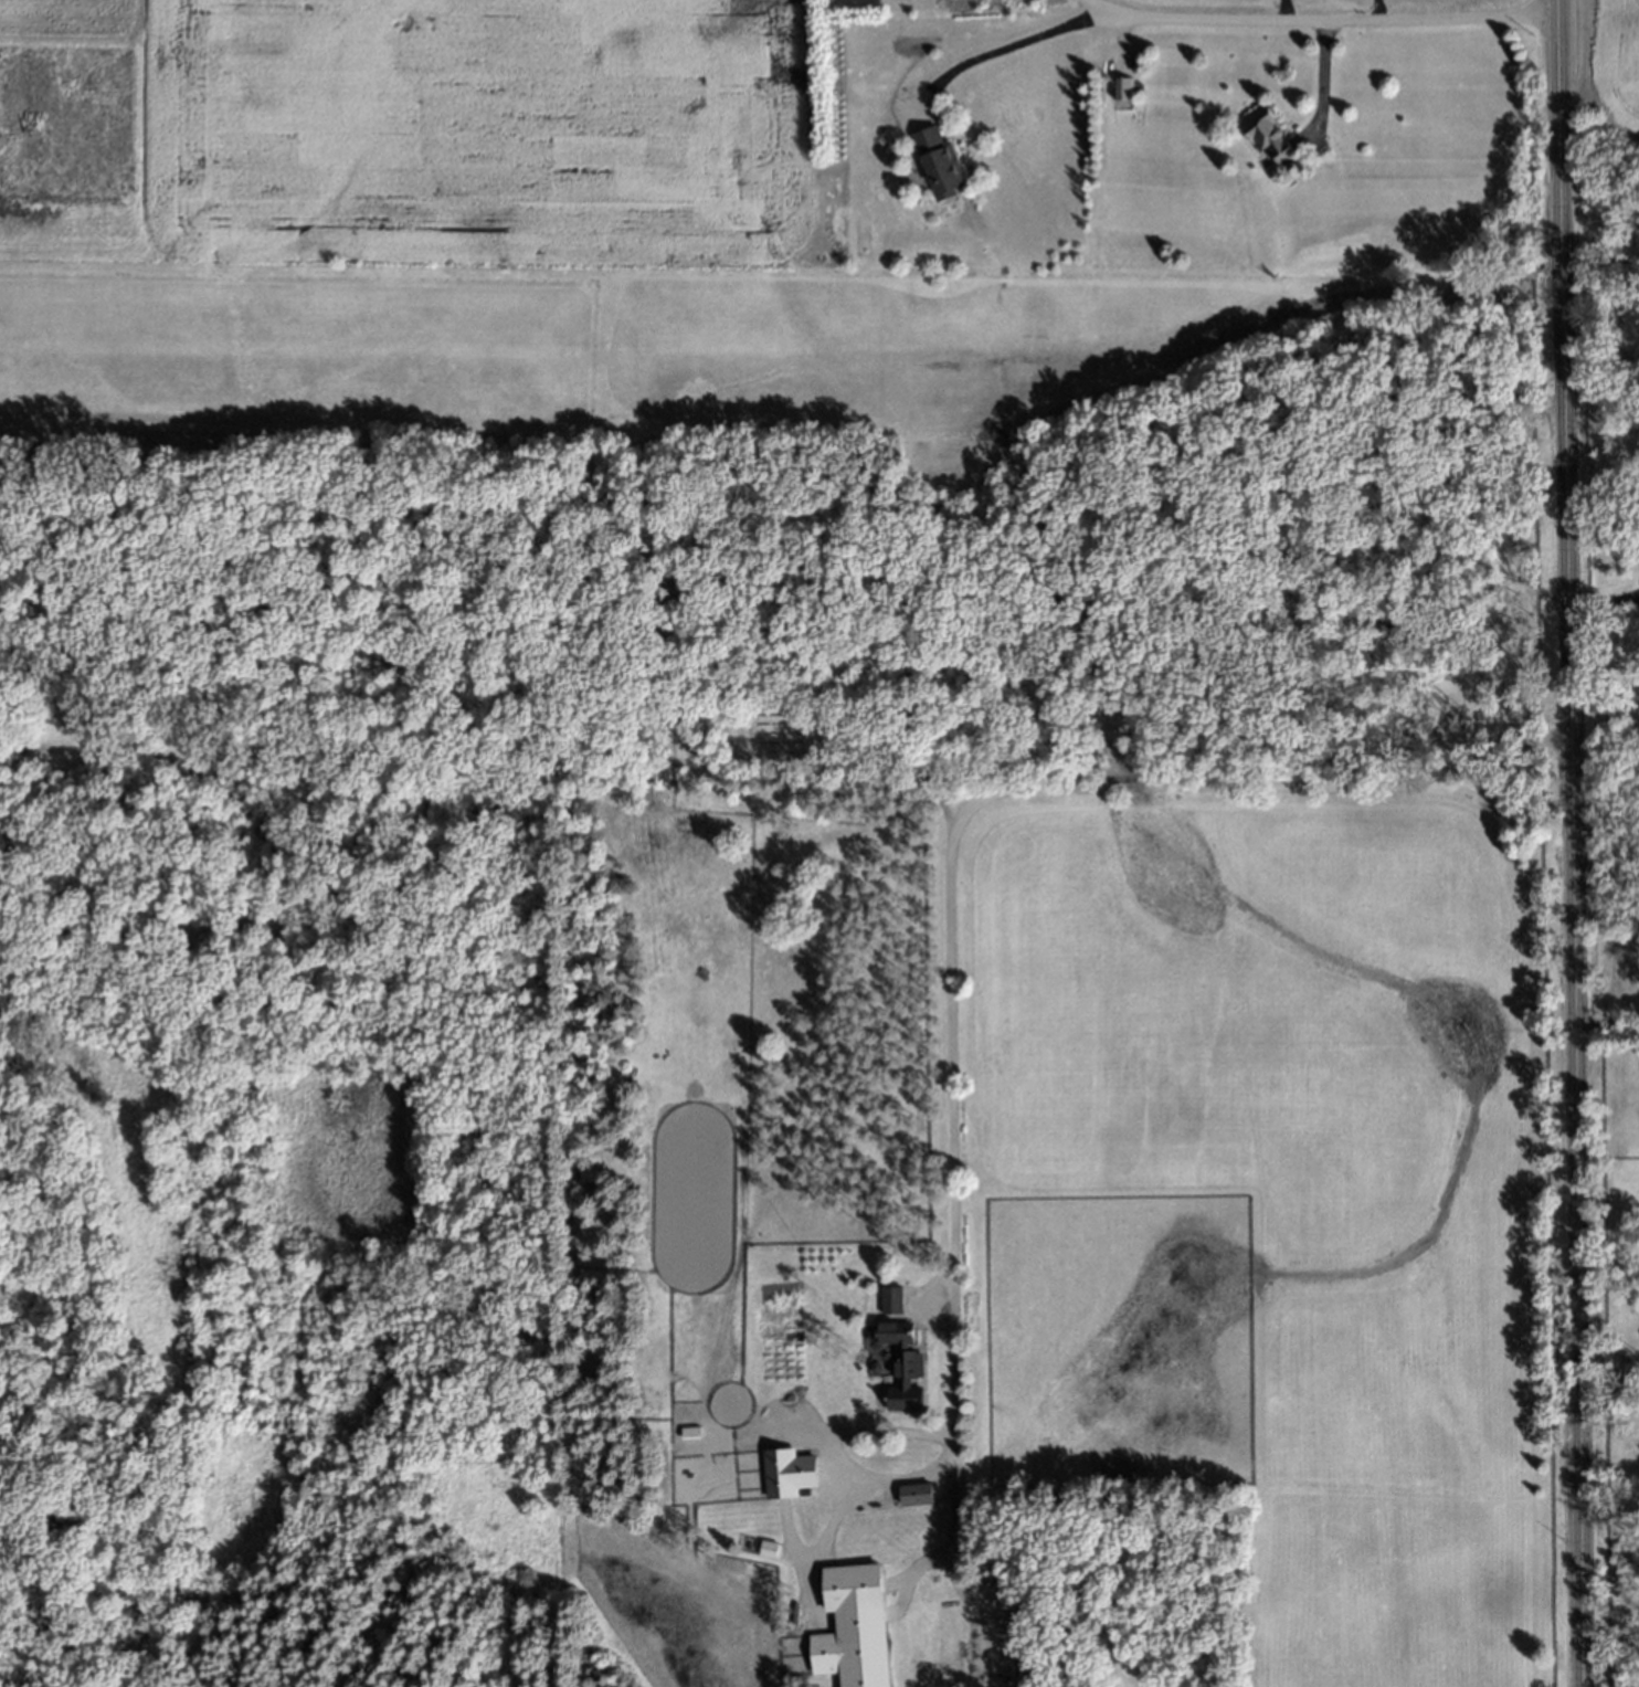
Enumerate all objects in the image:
road: (1281, 11)
road: (1379, 11)
road: (1321, 22)
road: (1003, 45)
building: (1121, 91)
building: (1266, 139)
building: (937, 164)
road: (1604, 603)
building: (899, 749)
road: (1569, 843)
road: (951, 897)
building: (890, 1298)
building: (899, 1361)
road: (1607, 1377)
building: (690, 1431)
road: (834, 1453)
building: (791, 1474)
building: (919, 1495)
building: (764, 1547)
building: (856, 1590)

